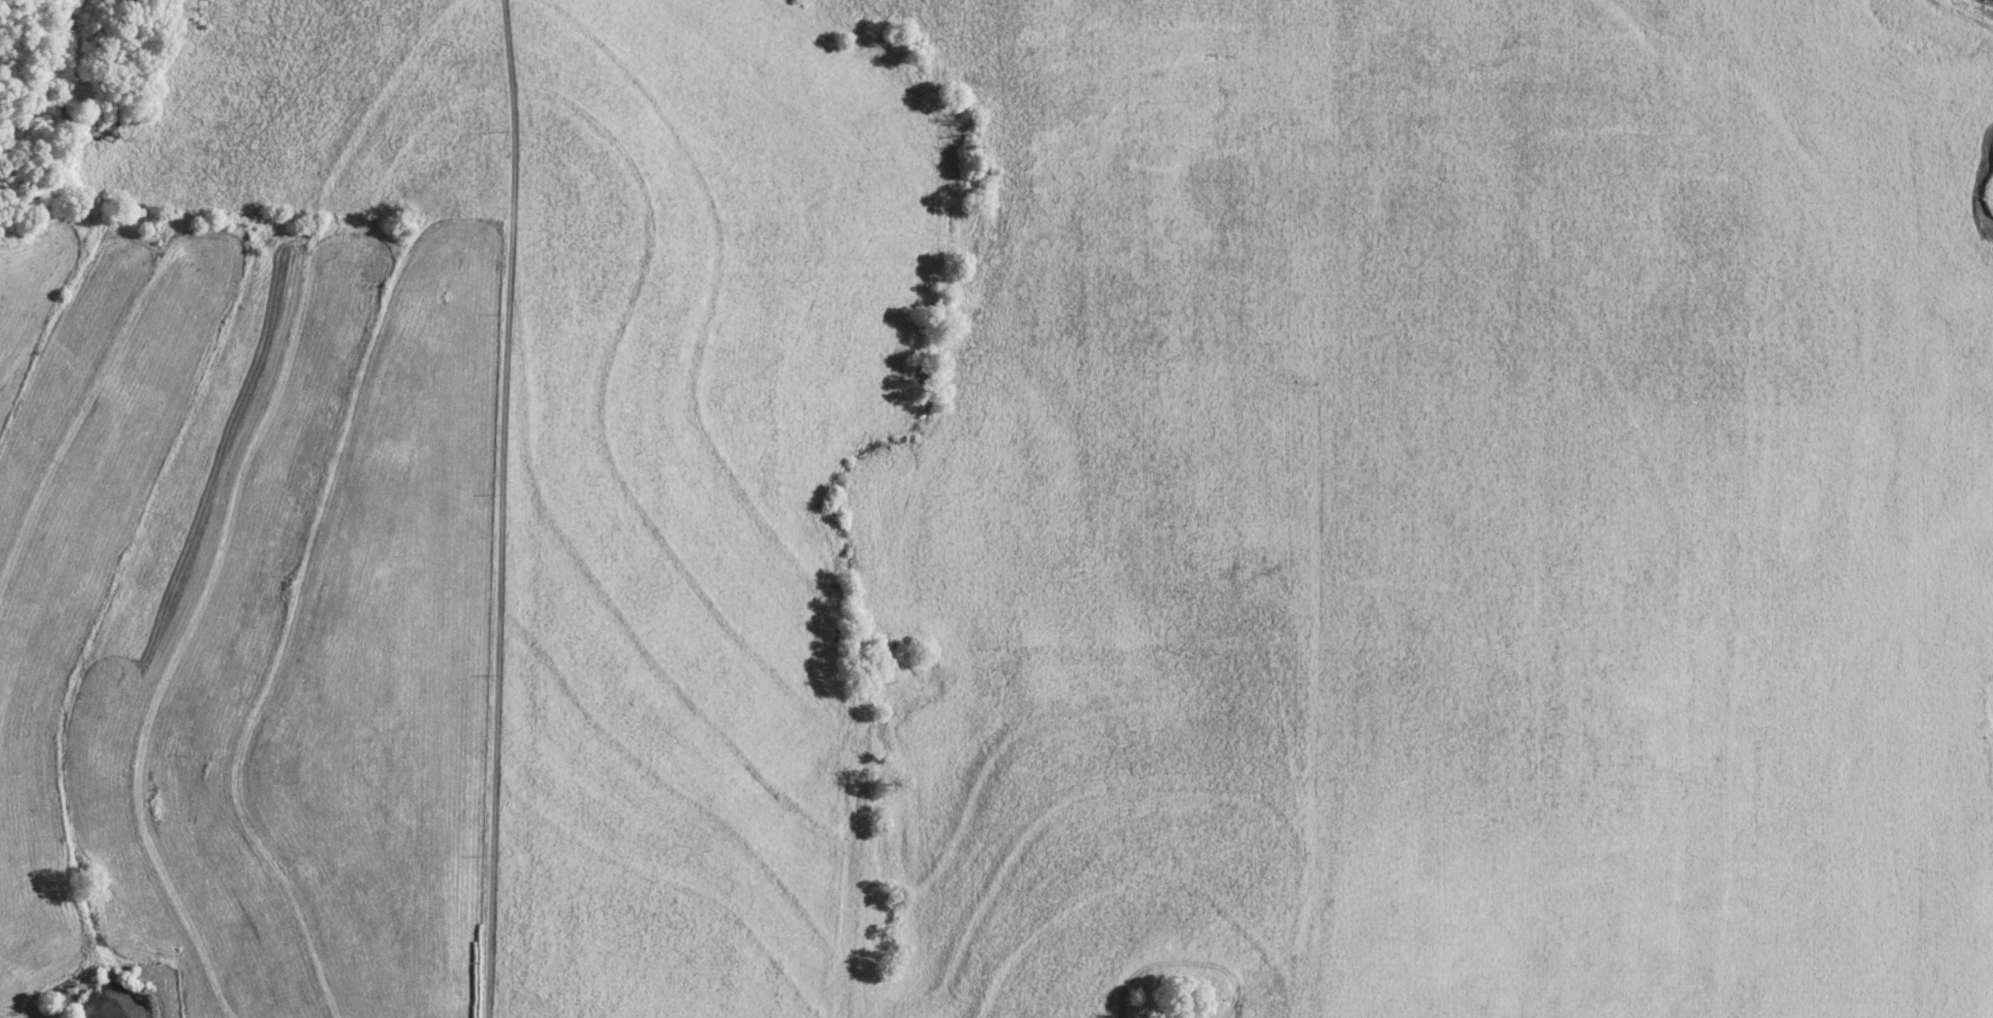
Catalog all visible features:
road: (505, 508)

